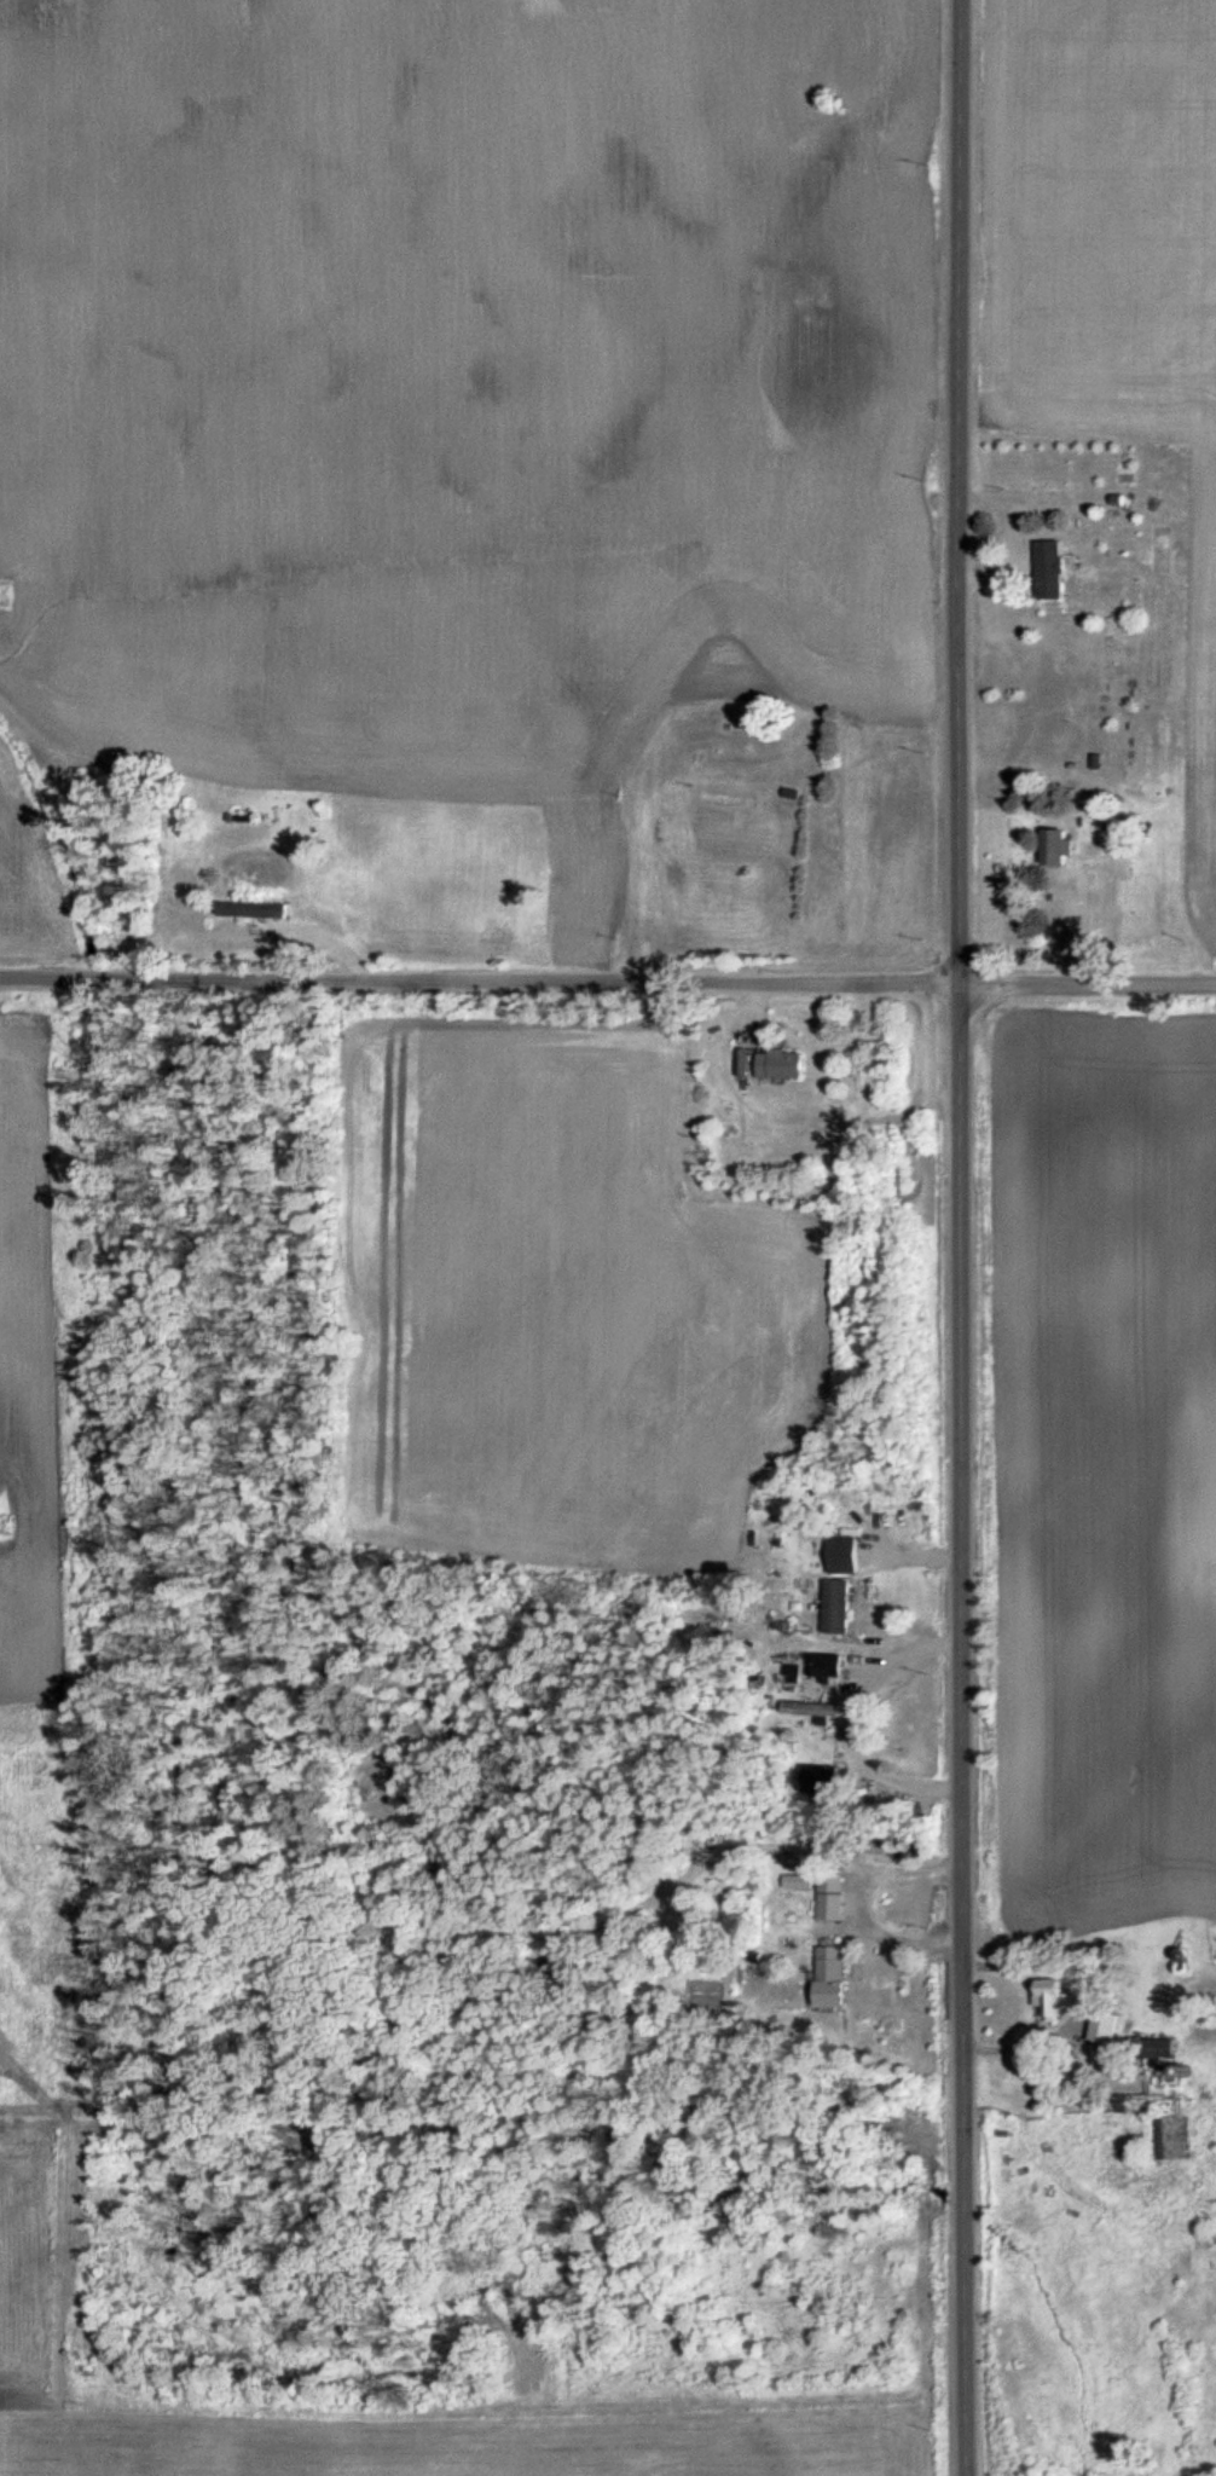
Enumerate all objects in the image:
building: (1059, 569)
power tower: (1, 594)
building: (575, 735)
building: (729, 799)
building: (1060, 846)
building: (259, 909)
road: (607, 970)
building: (784, 1063)
road: (945, 1238)
power tower: (0, 1526)
building: (850, 1556)
building: (841, 1607)
building: (834, 1662)
building: (817, 1711)
building: (829, 1778)
road: (865, 1907)
building: (839, 1978)
building: (1055, 1998)
building: (1172, 2129)

